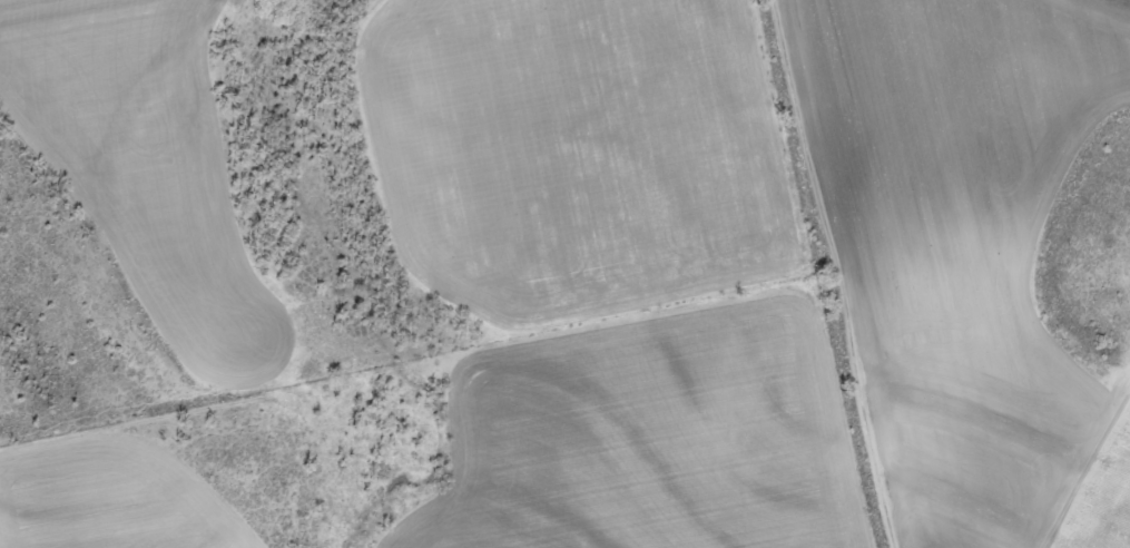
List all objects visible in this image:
road: (809, 274)

